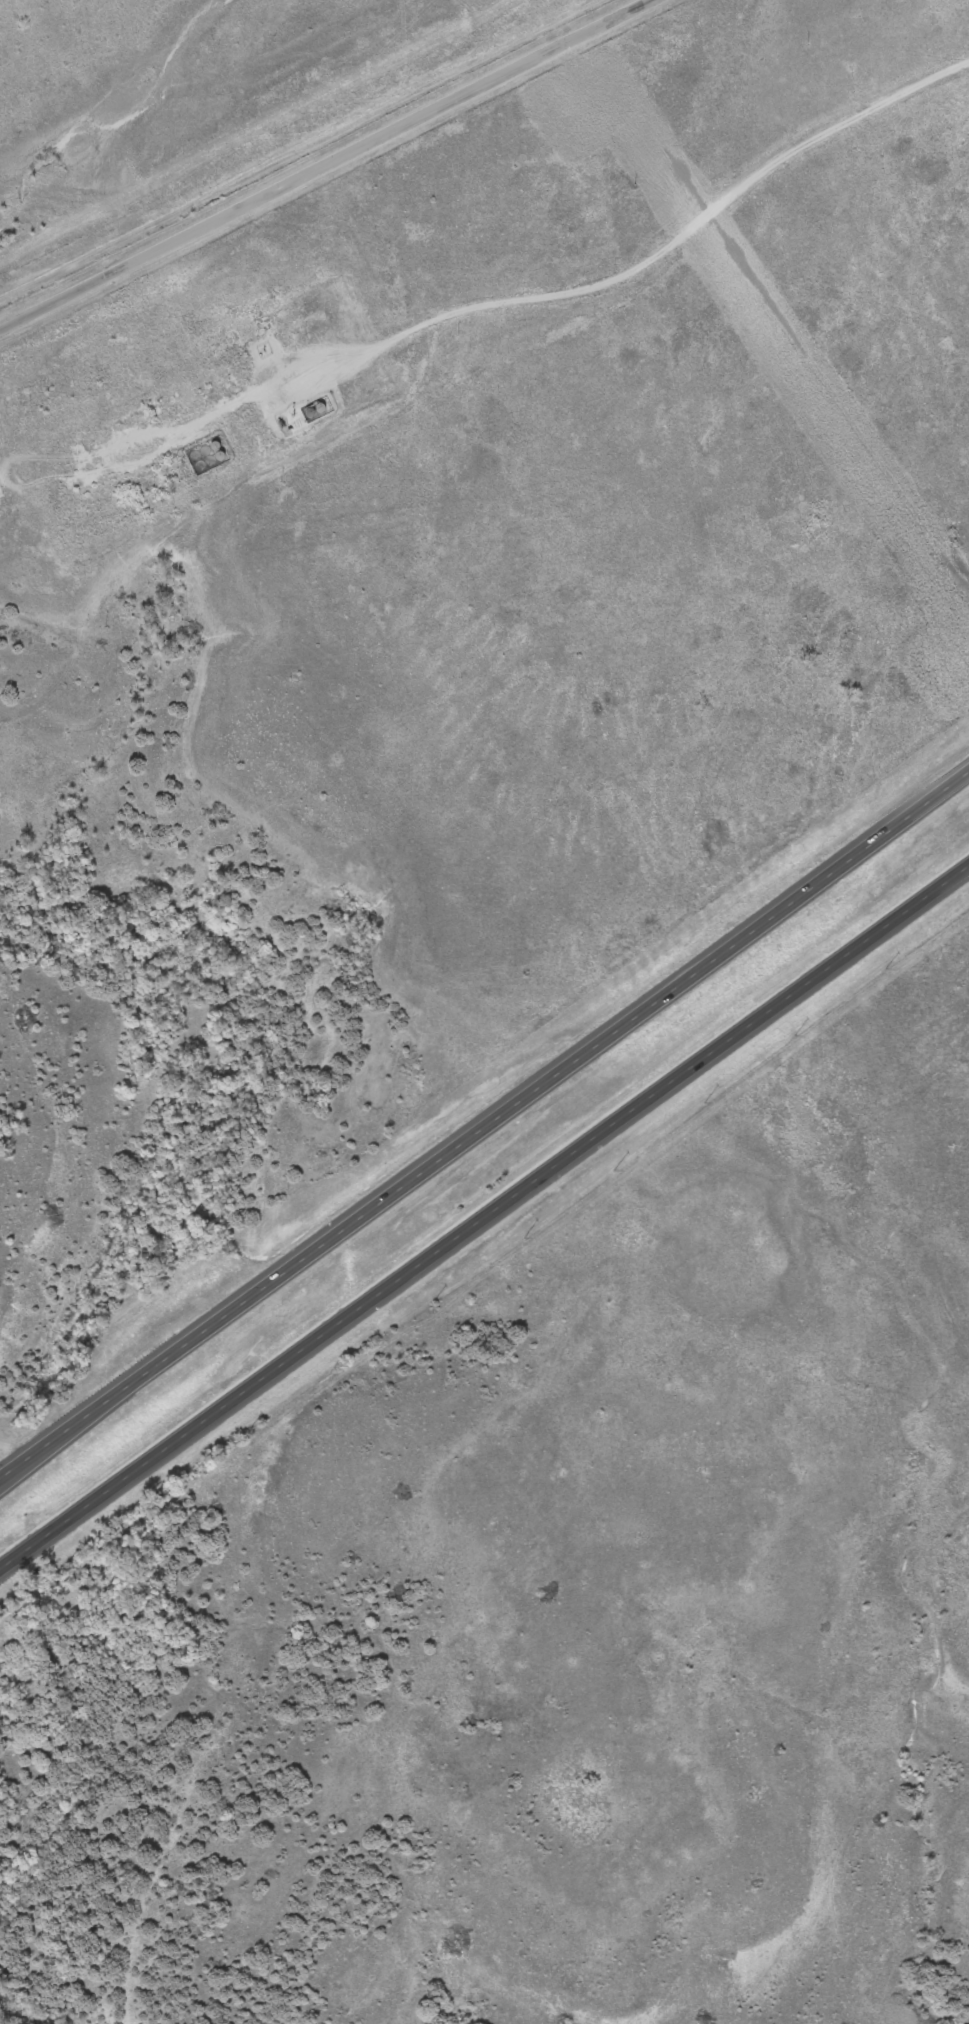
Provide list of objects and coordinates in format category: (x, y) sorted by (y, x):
road: (411, 52)
road: (319, 162)
road: (539, 298)
road: (485, 1122)
road: (484, 1216)

